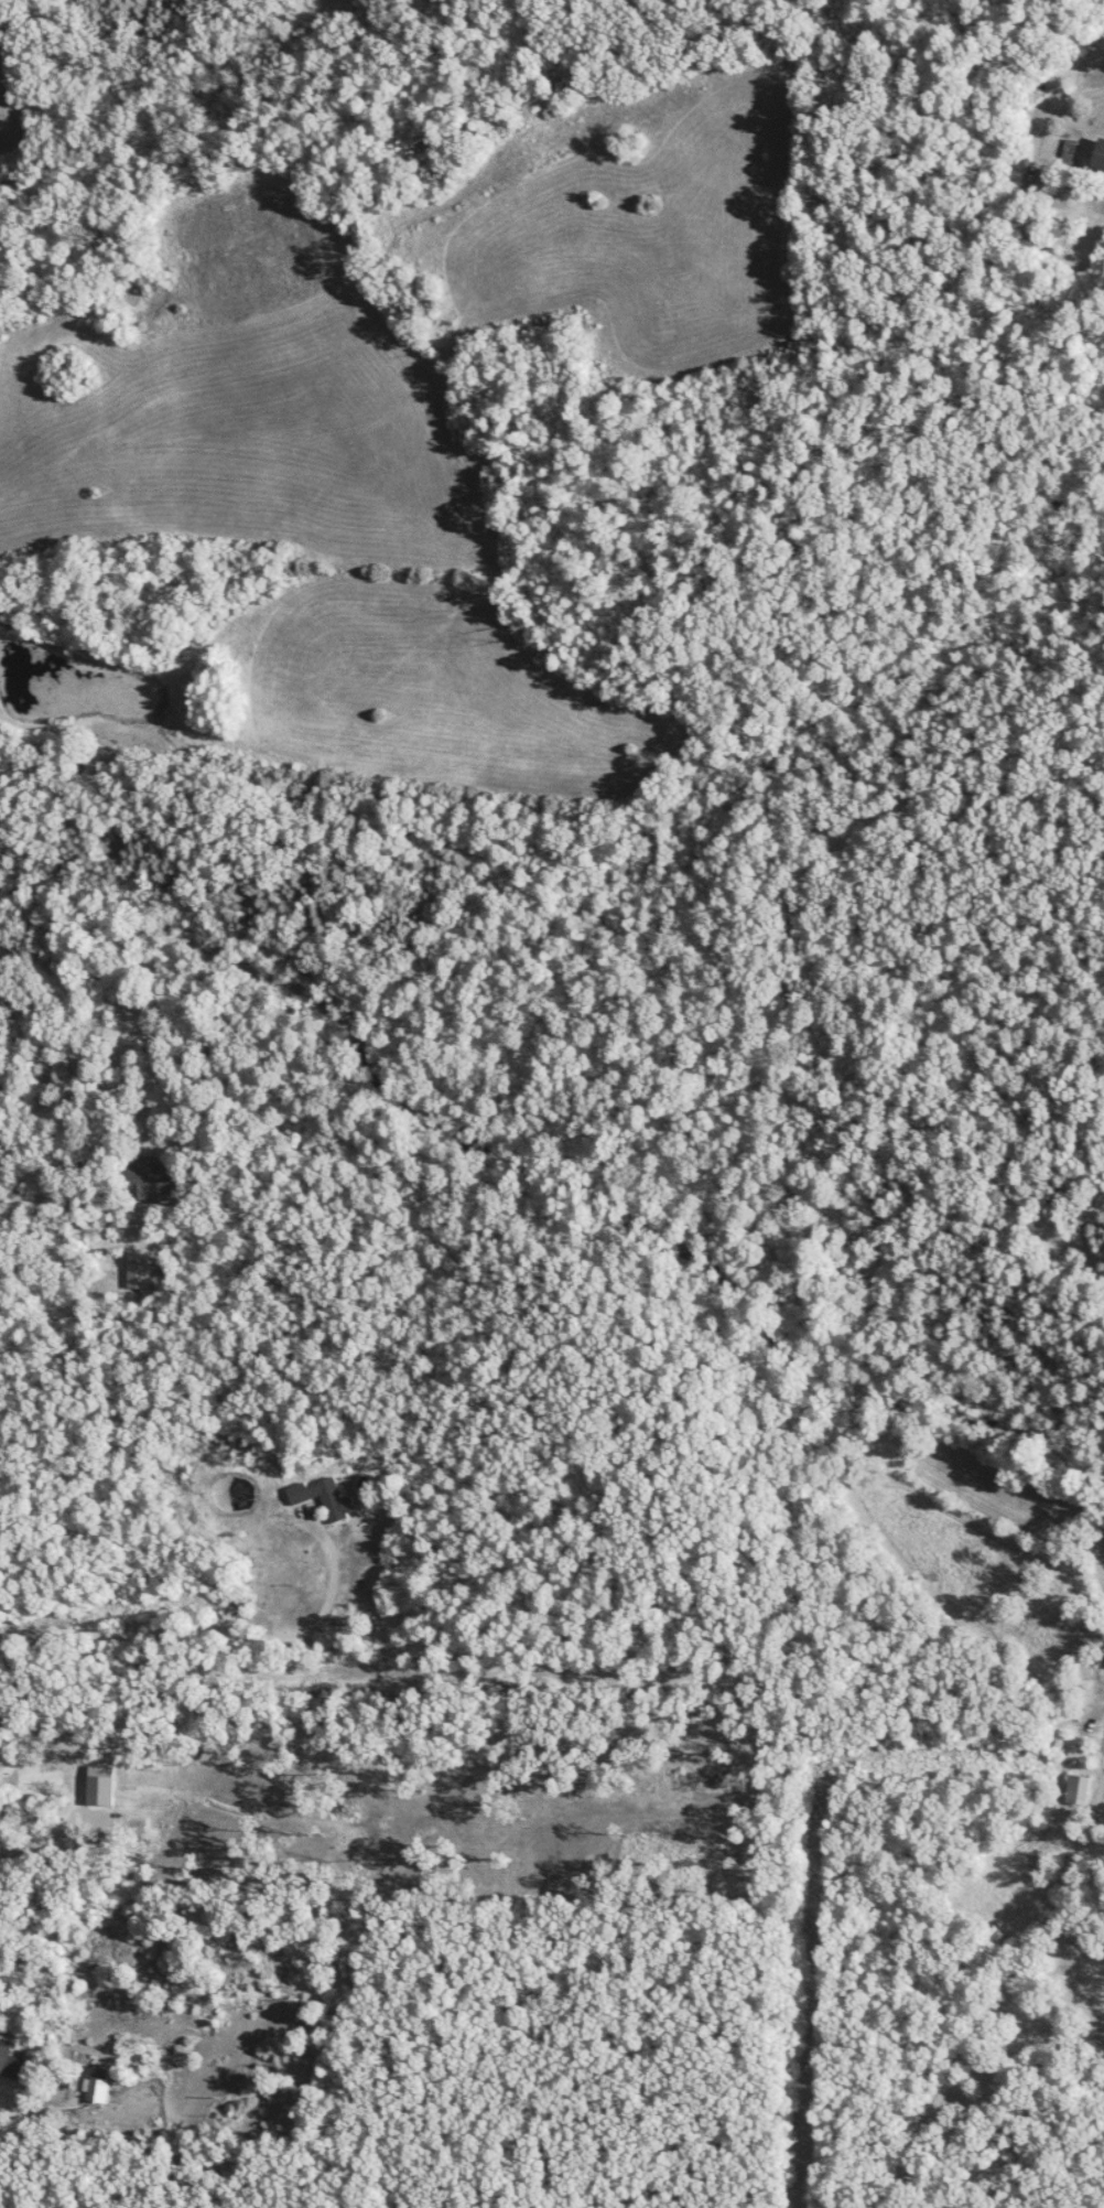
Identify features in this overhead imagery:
road: (1059, 105)
building: (1067, 151)
building: (1098, 154)
building: (147, 1181)
road: (69, 1303)
building: (324, 1497)
road: (217, 1631)
road: (1009, 1985)
building: (10, 2060)
building: (97, 2090)
road: (1, 2097)

